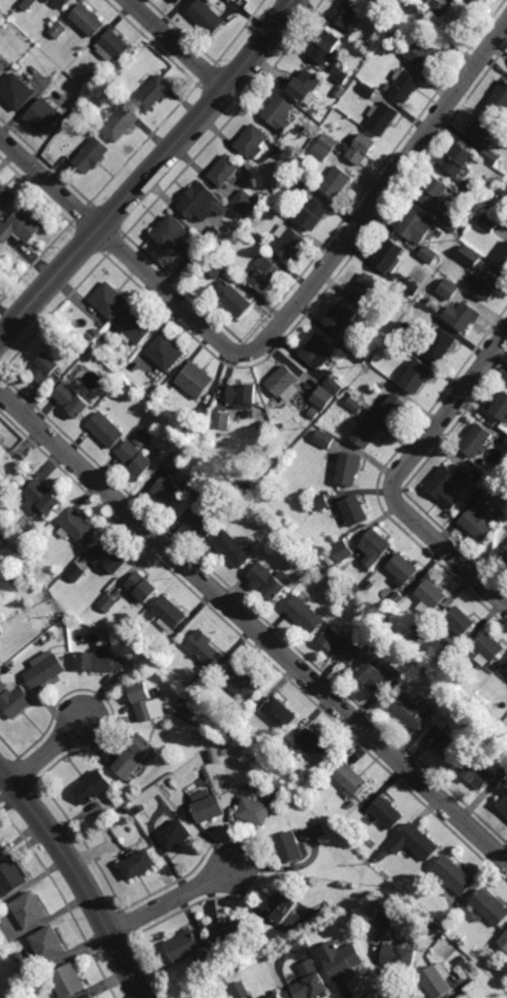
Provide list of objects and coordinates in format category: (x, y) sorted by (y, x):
building: (429, 0)
building: (46, 1)
building: (178, 1)
building: (374, 2)
building: (404, 2)
building: (476, 2)
building: (62, 3)
building: (30, 5)
building: (438, 10)
building: (346, 13)
building: (208, 17)
building: (87, 21)
building: (59, 31)
road: (176, 45)
building: (116, 46)
building: (326, 47)
building: (427, 48)
building: (3, 66)
building: (118, 72)
building: (342, 74)
building: (80, 75)
building: (99, 76)
building: (406, 83)
building: (308, 85)
building: (388, 86)
building: (369, 89)
building: (18, 90)
building: (341, 90)
building: (155, 93)
building: (500, 99)
building: (281, 112)
building: (45, 115)
building: (383, 117)
building: (123, 121)
building: (482, 129)
building: (254, 140)
building: (325, 146)
building: (362, 147)
building: (94, 155)
building: (492, 155)
building: (287, 156)
building: (459, 158)
building: (226, 169)
road: (152, 172)
building: (337, 181)
building: (304, 186)
building: (473, 190)
building: (435, 192)
building: (503, 192)
building: (6, 196)
building: (202, 201)
building: (246, 202)
building: (266, 208)
building: (314, 213)
building: (0, 220)
building: (492, 221)
building: (452, 223)
building: (24, 225)
building: (416, 225)
building: (174, 231)
building: (241, 233)
building: (217, 236)
building: (290, 243)
building: (430, 253)
building: (207, 255)
building: (473, 255)
building: (390, 256)
building: (503, 256)
building: (217, 267)
building: (265, 273)
building: (491, 284)
building: (412, 287)
building: (366, 288)
building: (451, 289)
building: (236, 298)
building: (111, 300)
building: (467, 316)
building: (341, 318)
road: (281, 325)
building: (138, 326)
building: (408, 328)
building: (93, 333)
building: (107, 336)
building: (443, 346)
building: (83, 348)
building: (363, 351)
building: (167, 352)
building: (320, 353)
building: (46, 368)
building: (420, 376)
building: (196, 380)
building: (283, 380)
building: (335, 385)
building: (353, 388)
building: (150, 395)
building: (244, 396)
building: (324, 397)
building: (73, 400)
building: (357, 405)
building: (394, 408)
building: (501, 408)
building: (314, 413)
building: (223, 420)
building: (106, 430)
building: (368, 433)
building: (178, 438)
building: (195, 439)
building: (325, 439)
building: (478, 441)
building: (505, 445)
building: (190, 446)
building: (139, 453)
building: (173, 462)
building: (350, 469)
building: (0, 470)
building: (1, 474)
road: (397, 474)
building: (483, 475)
building: (472, 480)
building: (250, 485)
building: (446, 486)
building: (170, 490)
building: (43, 496)
building: (320, 502)
building: (11, 510)
building: (356, 510)
building: (205, 515)
building: (482, 515)
building: (75, 526)
building: (286, 537)
building: (1, 540)
building: (292, 543)
building: (234, 548)
building: (376, 548)
building: (340, 555)
building: (111, 559)
building: (504, 559)
building: (404, 569)
building: (77, 572)
building: (322, 573)
building: (13, 578)
building: (270, 582)
building: (372, 585)
building: (356, 587)
building: (144, 588)
building: (432, 596)
building: (108, 602)
building: (395, 603)
building: (169, 615)
building: (305, 615)
building: (461, 622)
road: (253, 626)
building: (421, 627)
building: (46, 628)
building: (382, 628)
building: (1, 630)
building: (52, 634)
building: (203, 647)
building: (342, 648)
building: (490, 649)
building: (450, 655)
building: (0, 661)
building: (101, 662)
building: (408, 665)
building: (47, 668)
building: (422, 670)
building: (506, 671)
building: (374, 673)
building: (506, 674)
building: (506, 675)
building: (199, 680)
building: (241, 680)
building: (2, 685)
building: (18, 699)
building: (185, 699)
building: (146, 701)
building: (412, 707)
building: (279, 710)
building: (193, 715)
building: (210, 725)
building: (446, 742)
building: (314, 744)
building: (224, 751)
road: (49, 752)
building: (133, 754)
building: (504, 769)
building: (477, 771)
building: (350, 778)
building: (94, 784)
building: (206, 803)
building: (503, 803)
building: (351, 804)
building: (256, 808)
building: (384, 812)
building: (174, 832)
building: (416, 840)
building: (2, 844)
building: (289, 846)
building: (384, 851)
building: (137, 861)
building: (12, 874)
building: (455, 874)
road: (78, 878)
road: (173, 898)
building: (282, 905)
building: (491, 906)
building: (29, 908)
building: (387, 919)
building: (228, 930)
building: (503, 940)
building: (47, 942)
building: (181, 945)
building: (478, 949)
building: (400, 955)
building: (340, 958)
building: (462, 959)
building: (211, 971)
building: (438, 979)
building: (68, 980)
building: (308, 981)
building: (240, 989)
building: (276, 994)
building: (91, 997)

